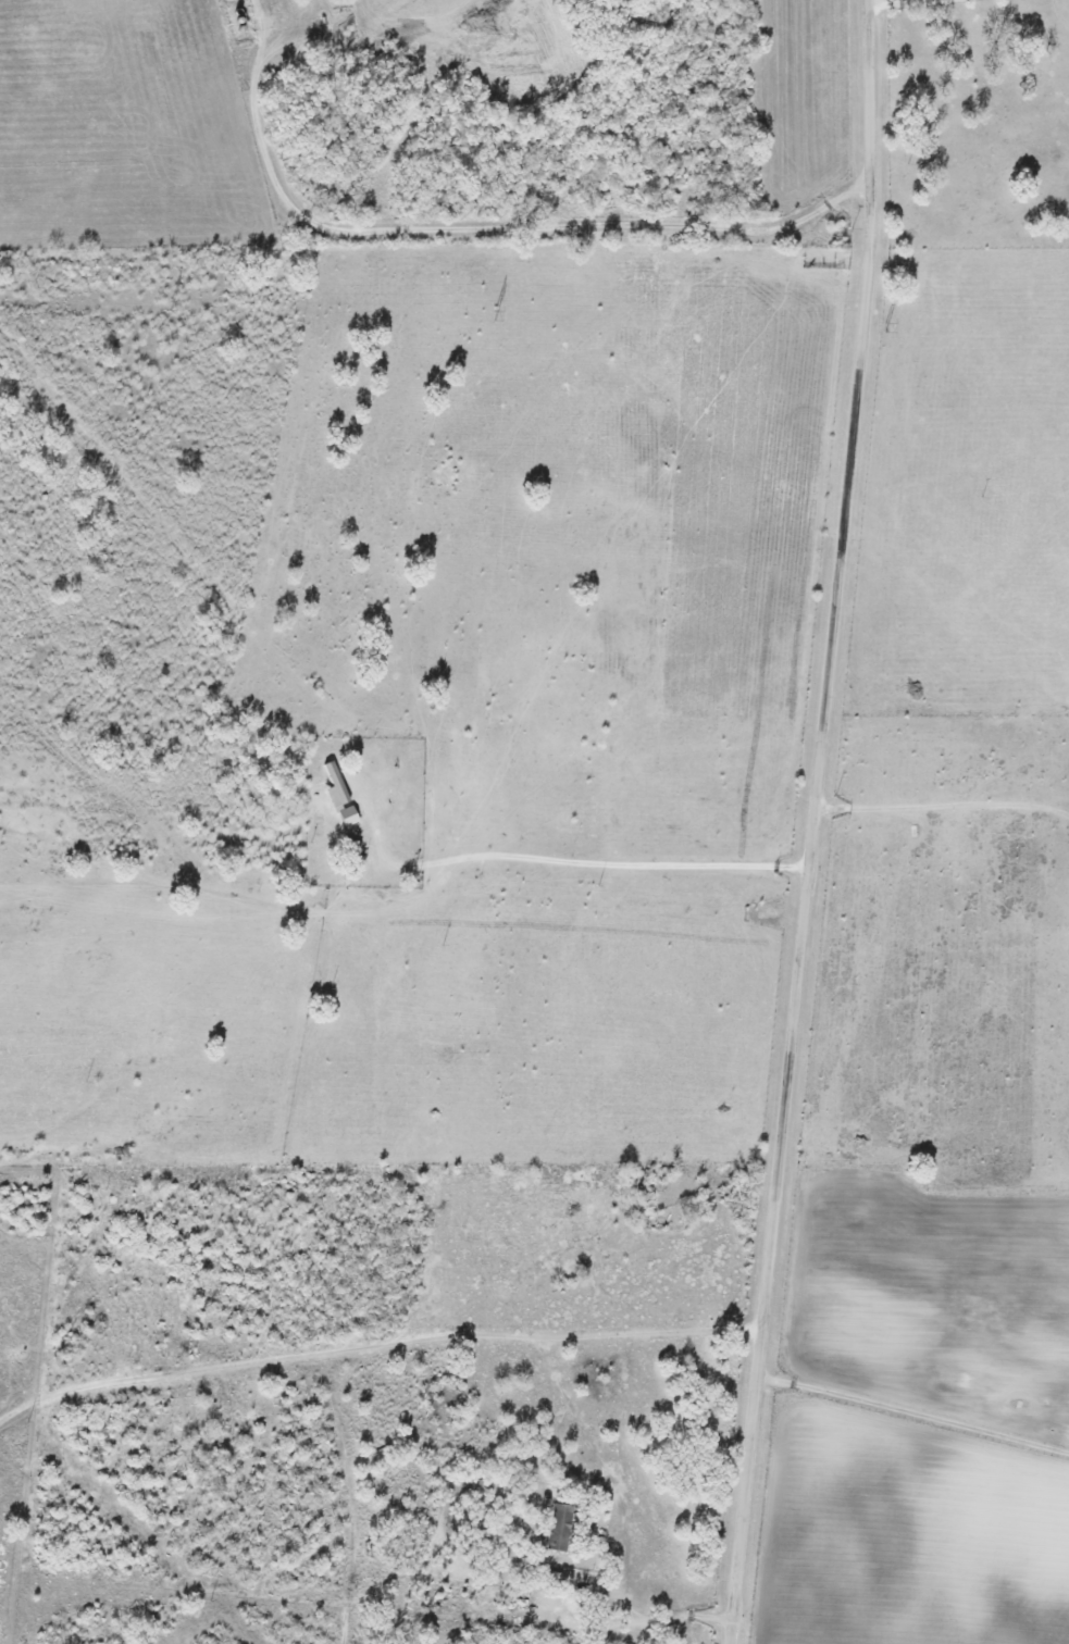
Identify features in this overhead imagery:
power tower: (170, 295)
power tower: (494, 302)
power tower: (882, 311)
building: (337, 786)
building: (349, 815)
road: (819, 822)
building: (561, 1527)

